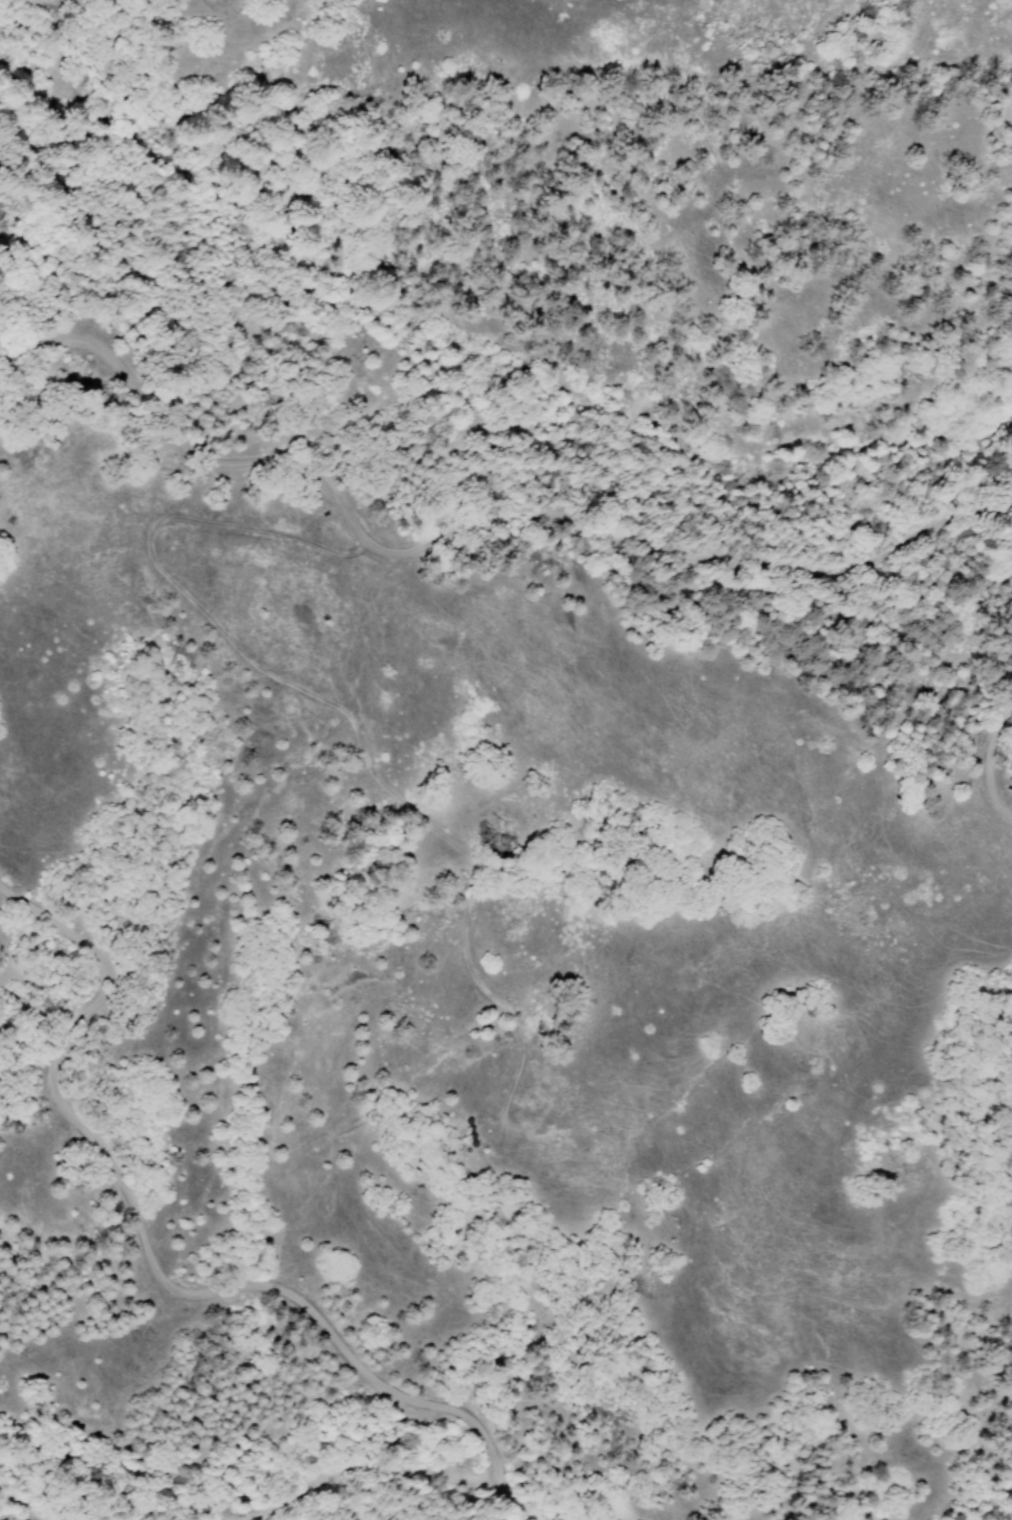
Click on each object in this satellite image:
road: (469, 532)
road: (993, 765)
road: (153, 1260)
road: (525, 1511)

